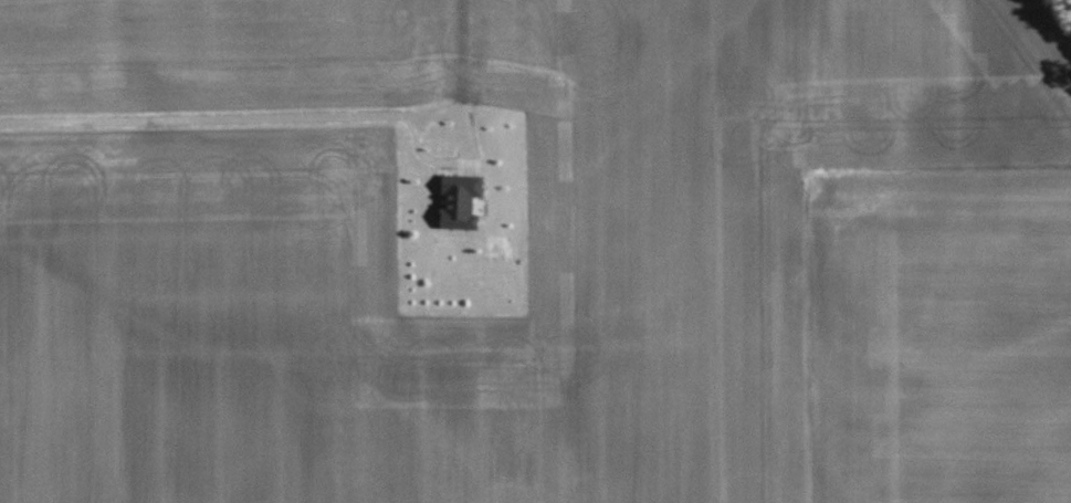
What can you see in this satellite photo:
building: (459, 199)

